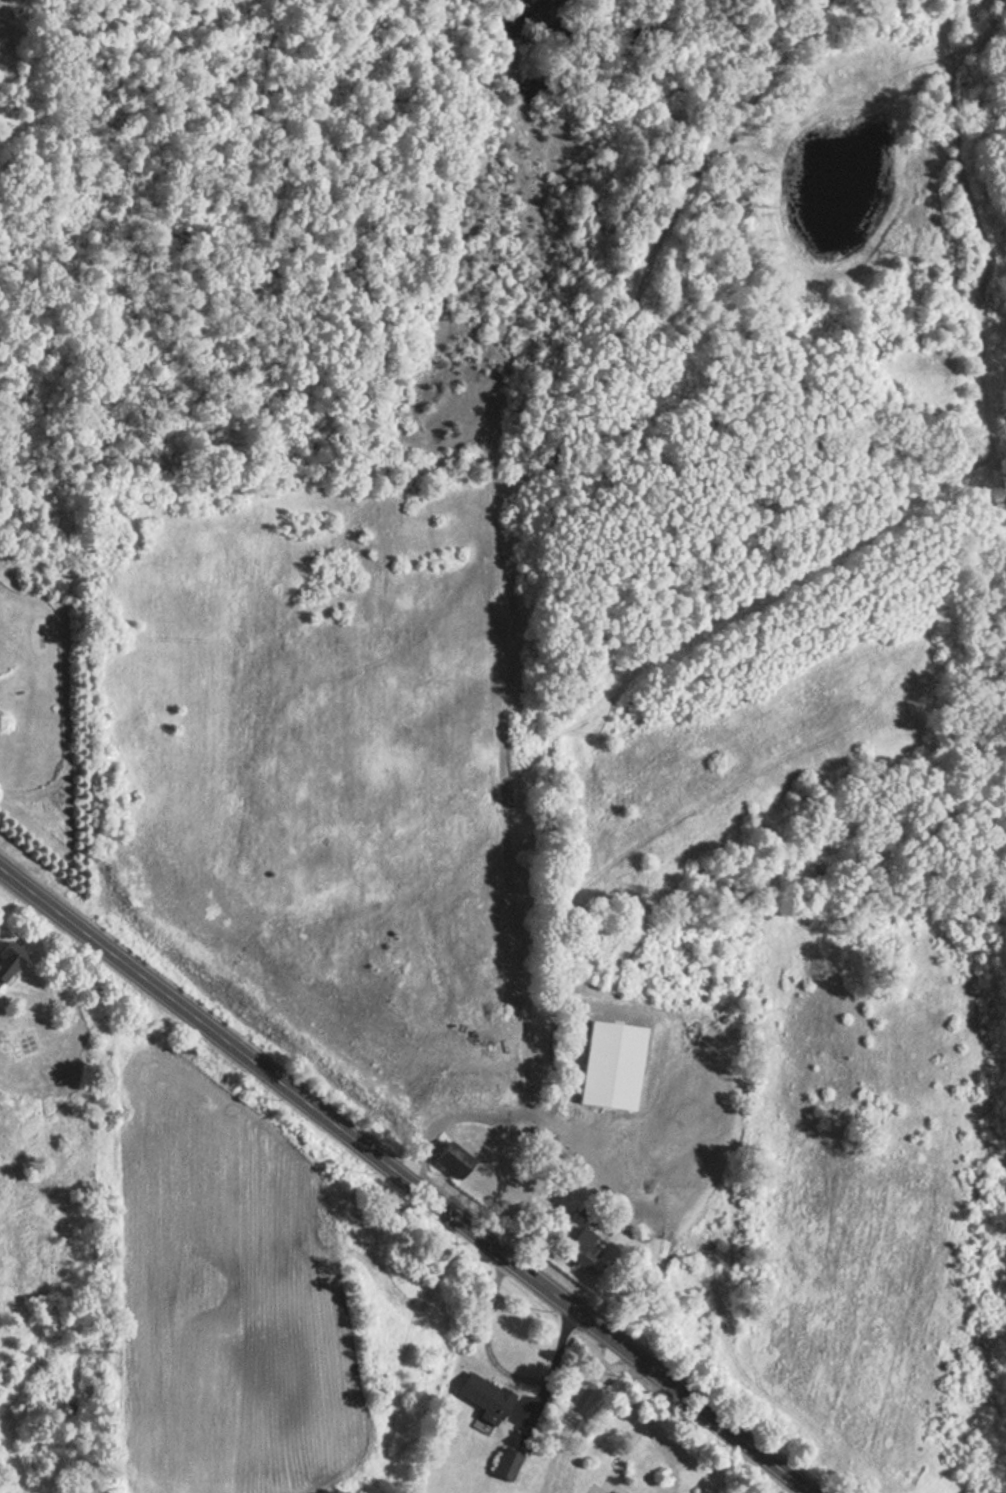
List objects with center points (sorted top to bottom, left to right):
building: (8, 959)
building: (607, 1065)
building: (448, 1160)
road: (404, 1179)
road: (656, 1278)
crop: (257, 1280)
road: (486, 1341)
road: (554, 1366)
building: (481, 1397)
road: (570, 1413)
road: (634, 1438)
road: (669, 1452)
building: (503, 1464)
road: (621, 1484)

